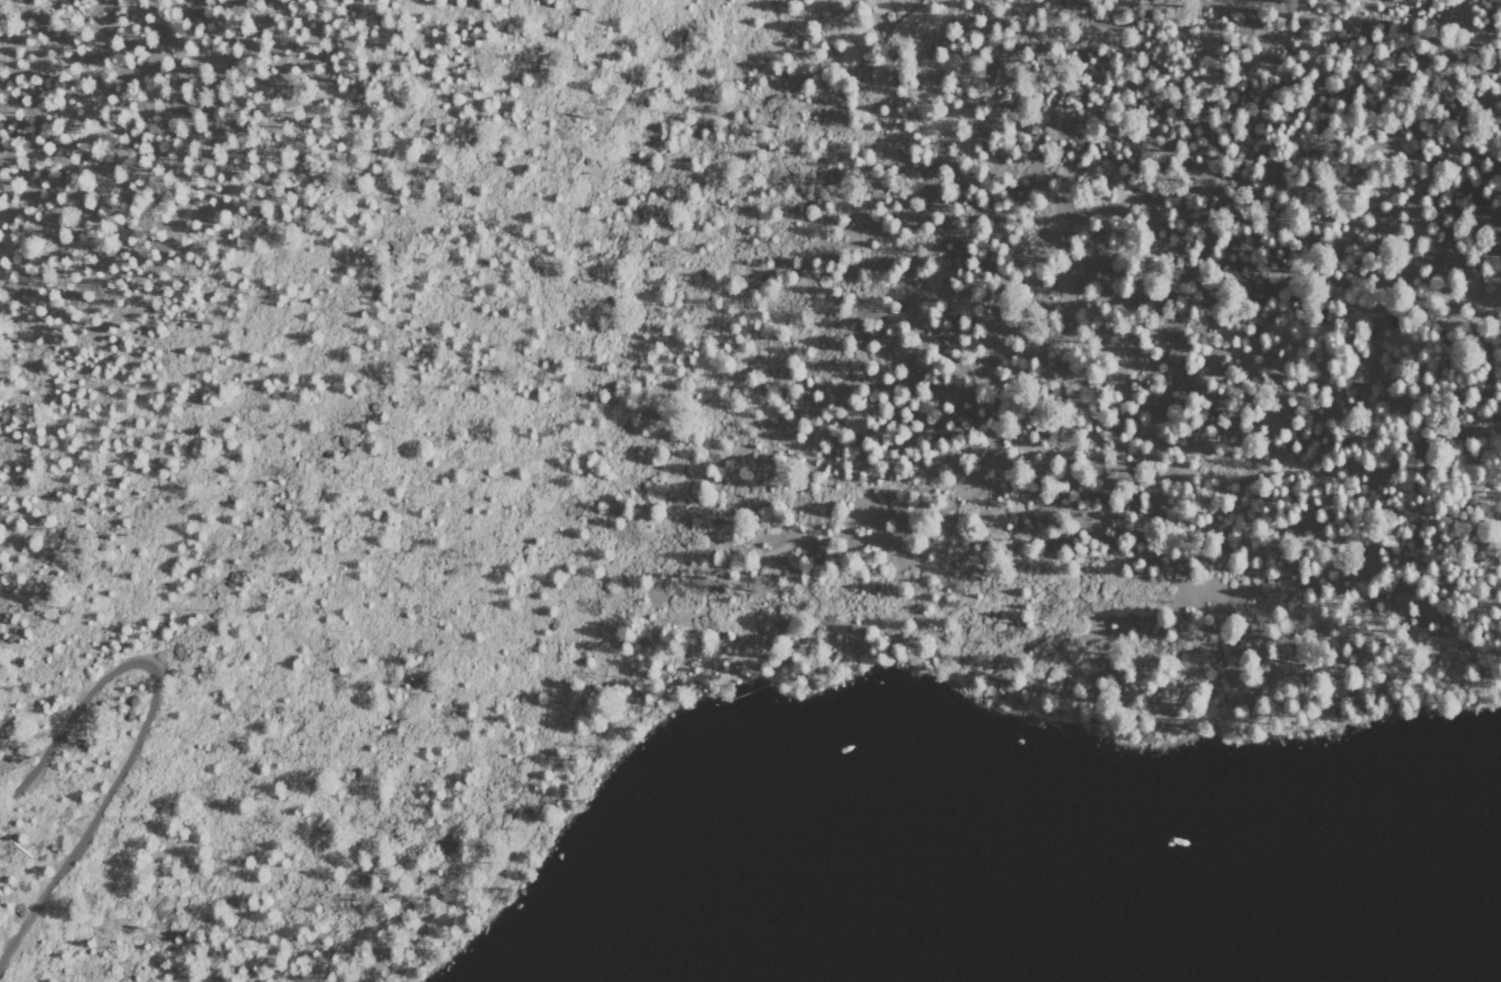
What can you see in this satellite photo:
road: (896, 20)
road: (820, 534)
road: (138, 732)

